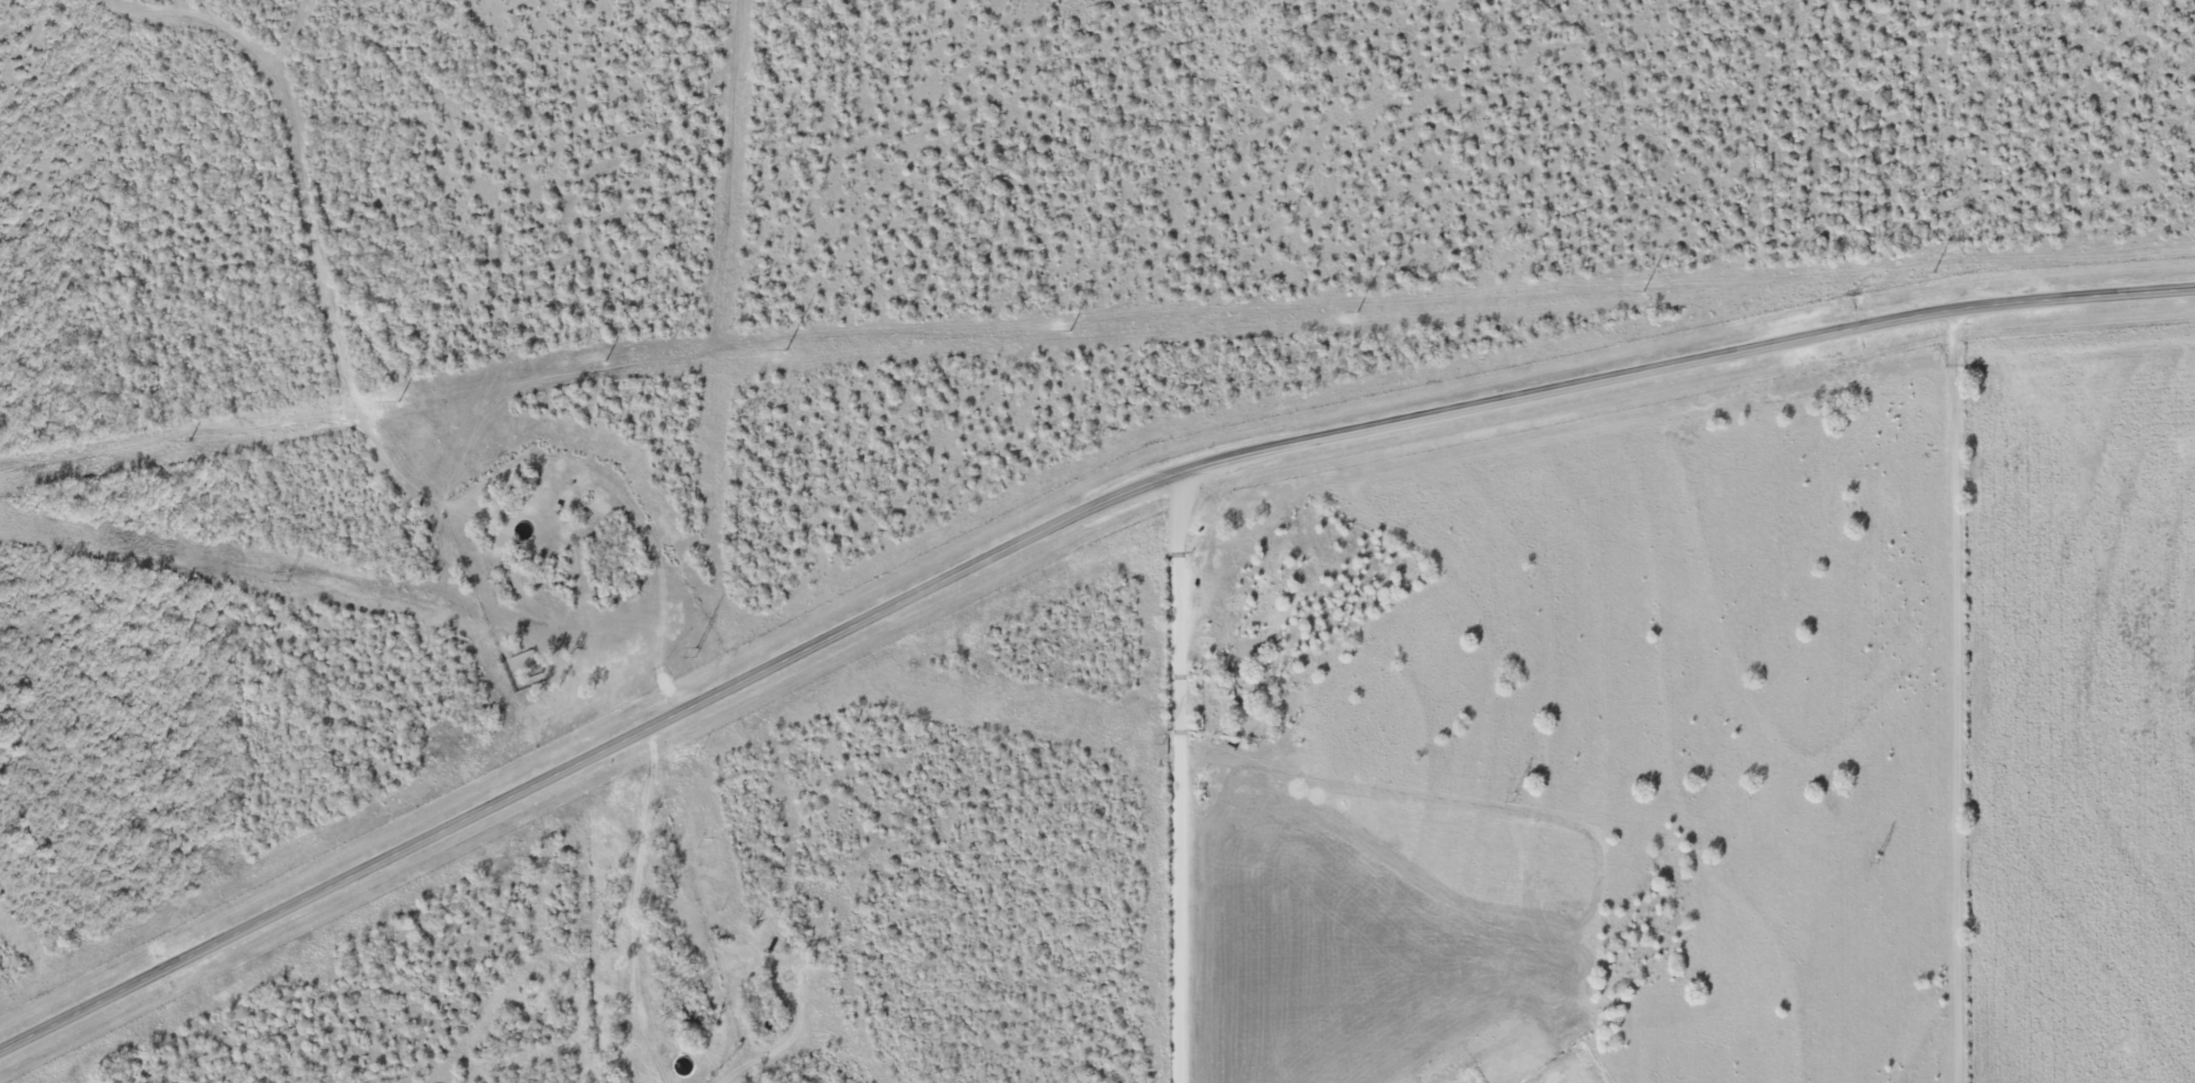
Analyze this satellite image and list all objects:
power tower: (1935, 270)
power tower: (1644, 291)
power tower: (1357, 312)
power tower: (1071, 331)
power tower: (786, 349)
power tower: (607, 360)
power tower: (401, 401)
power tower: (192, 440)
road: (1050, 528)
power tower: (288, 578)
road: (1187, 585)
power tower: (696, 654)
road: (1956, 696)
power tower: (1160, 741)
power tower: (1512, 799)
power tower: (1878, 861)
road: (631, 884)
road: (1187, 889)

